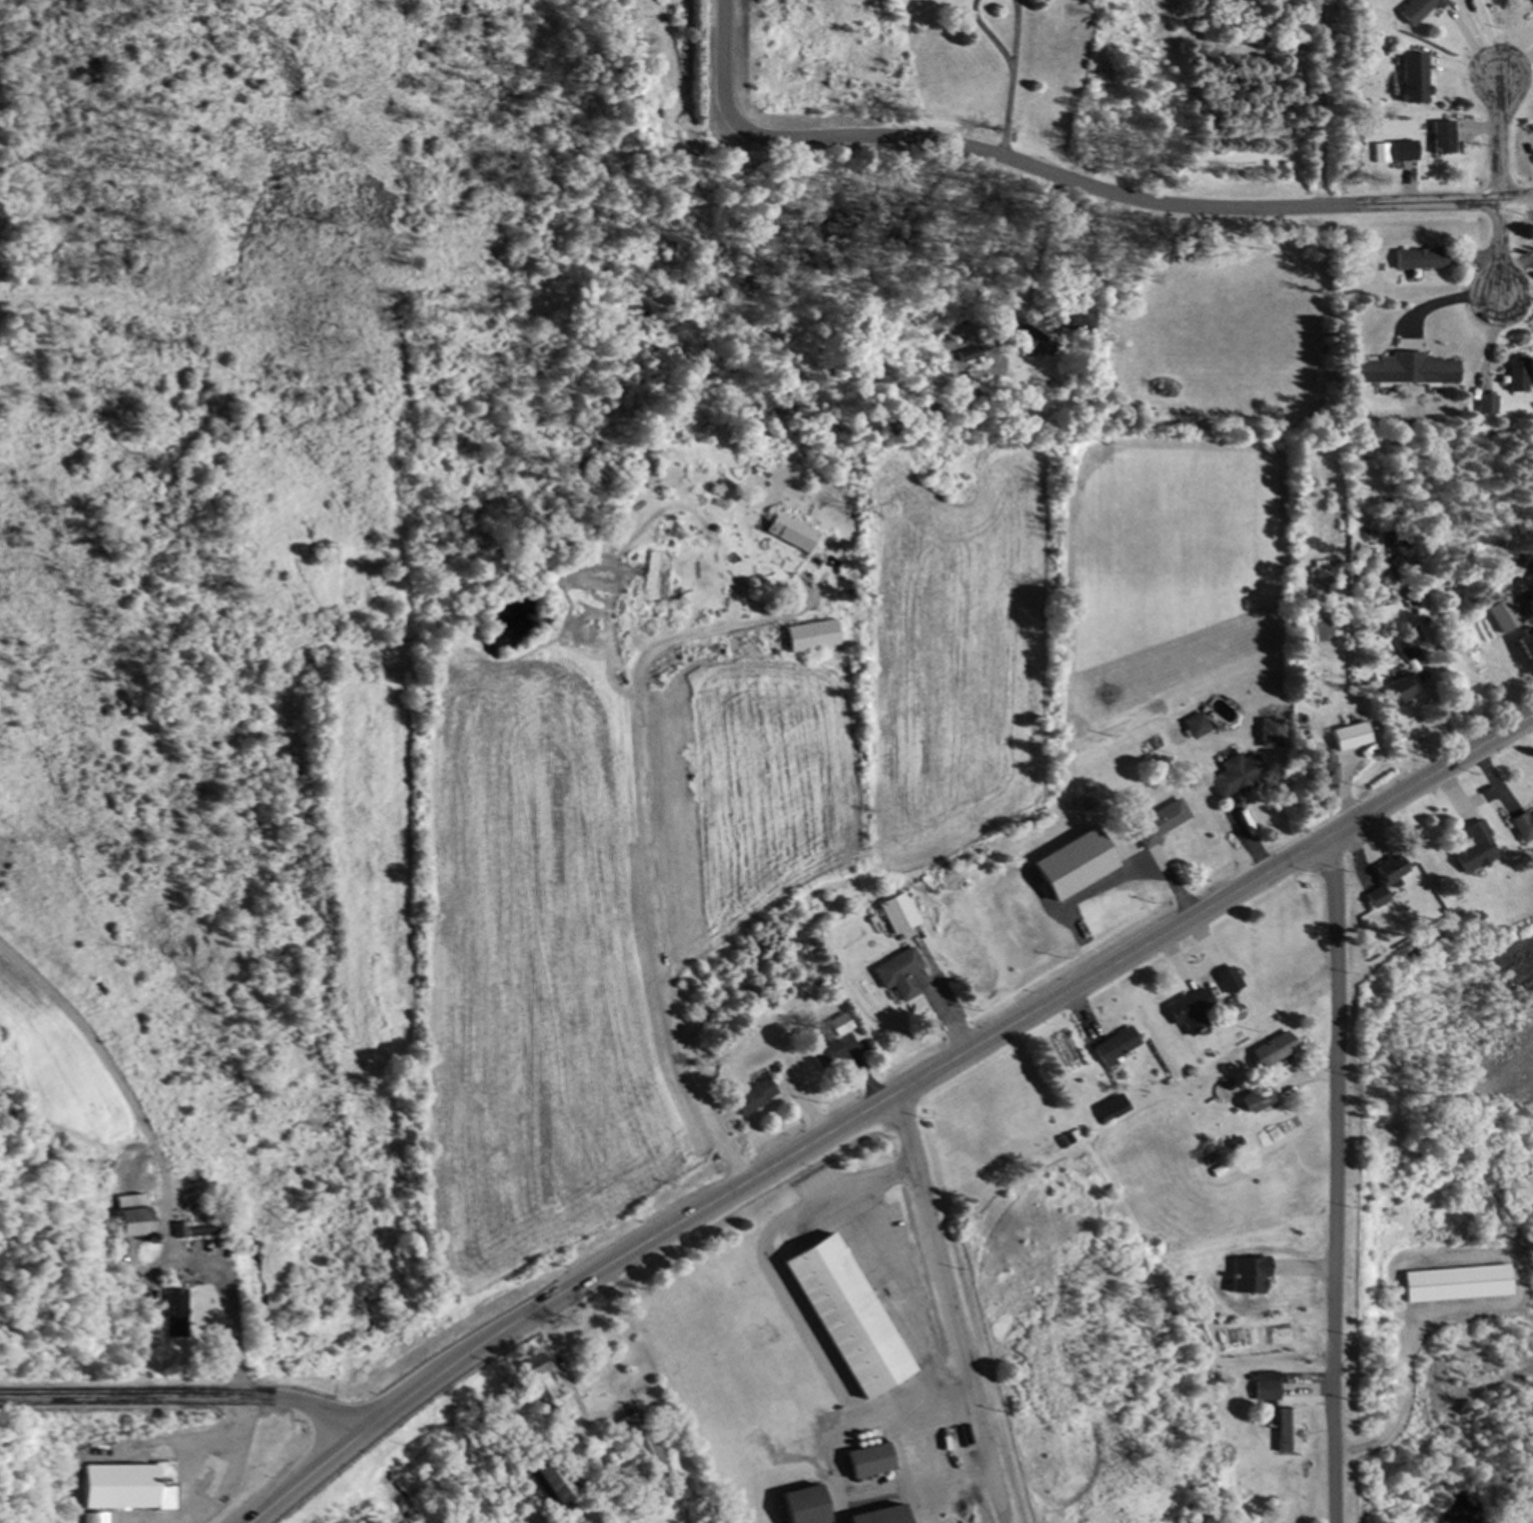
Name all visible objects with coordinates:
building: (1531, 1)
building: (1417, 11)
building: (1412, 80)
road: (1498, 136)
building: (1441, 139)
building: (1402, 152)
road: (990, 155)
road: (1452, 203)
road: (1501, 249)
building: (1421, 260)
building: (1026, 341)
building: (1404, 372)
building: (1517, 377)
building: (1487, 405)
building: (796, 534)
building: (1504, 616)
building: (813, 637)
building: (1526, 645)
building: (1408, 650)
building: (1400, 690)
building: (1198, 727)
building: (1351, 737)
building: (1325, 770)
road: (1434, 775)
building: (1237, 776)
building: (1161, 824)
building: (1523, 826)
building: (1474, 850)
building: (1384, 880)
building: (897, 915)
building: (899, 975)
building: (1227, 981)
building: (1190, 1013)
building: (839, 1025)
building: (1114, 1046)
building: (1270, 1051)
building: (827, 1056)
building: (753, 1097)
building: (1254, 1101)
building: (1111, 1110)
road: (841, 1127)
road: (1334, 1178)
building: (127, 1217)
building: (1461, 1285)
road: (220, 1286)
road: (950, 1305)
building: (172, 1314)
building: (842, 1317)
building: (535, 1370)
building: (1264, 1387)
road: (185, 1398)
building: (1285, 1432)
building: (642, 1446)
building: (863, 1462)
road: (307, 1481)
building: (552, 1482)
building: (125, 1486)
building: (797, 1506)
building: (873, 1516)
building: (94, 1518)

